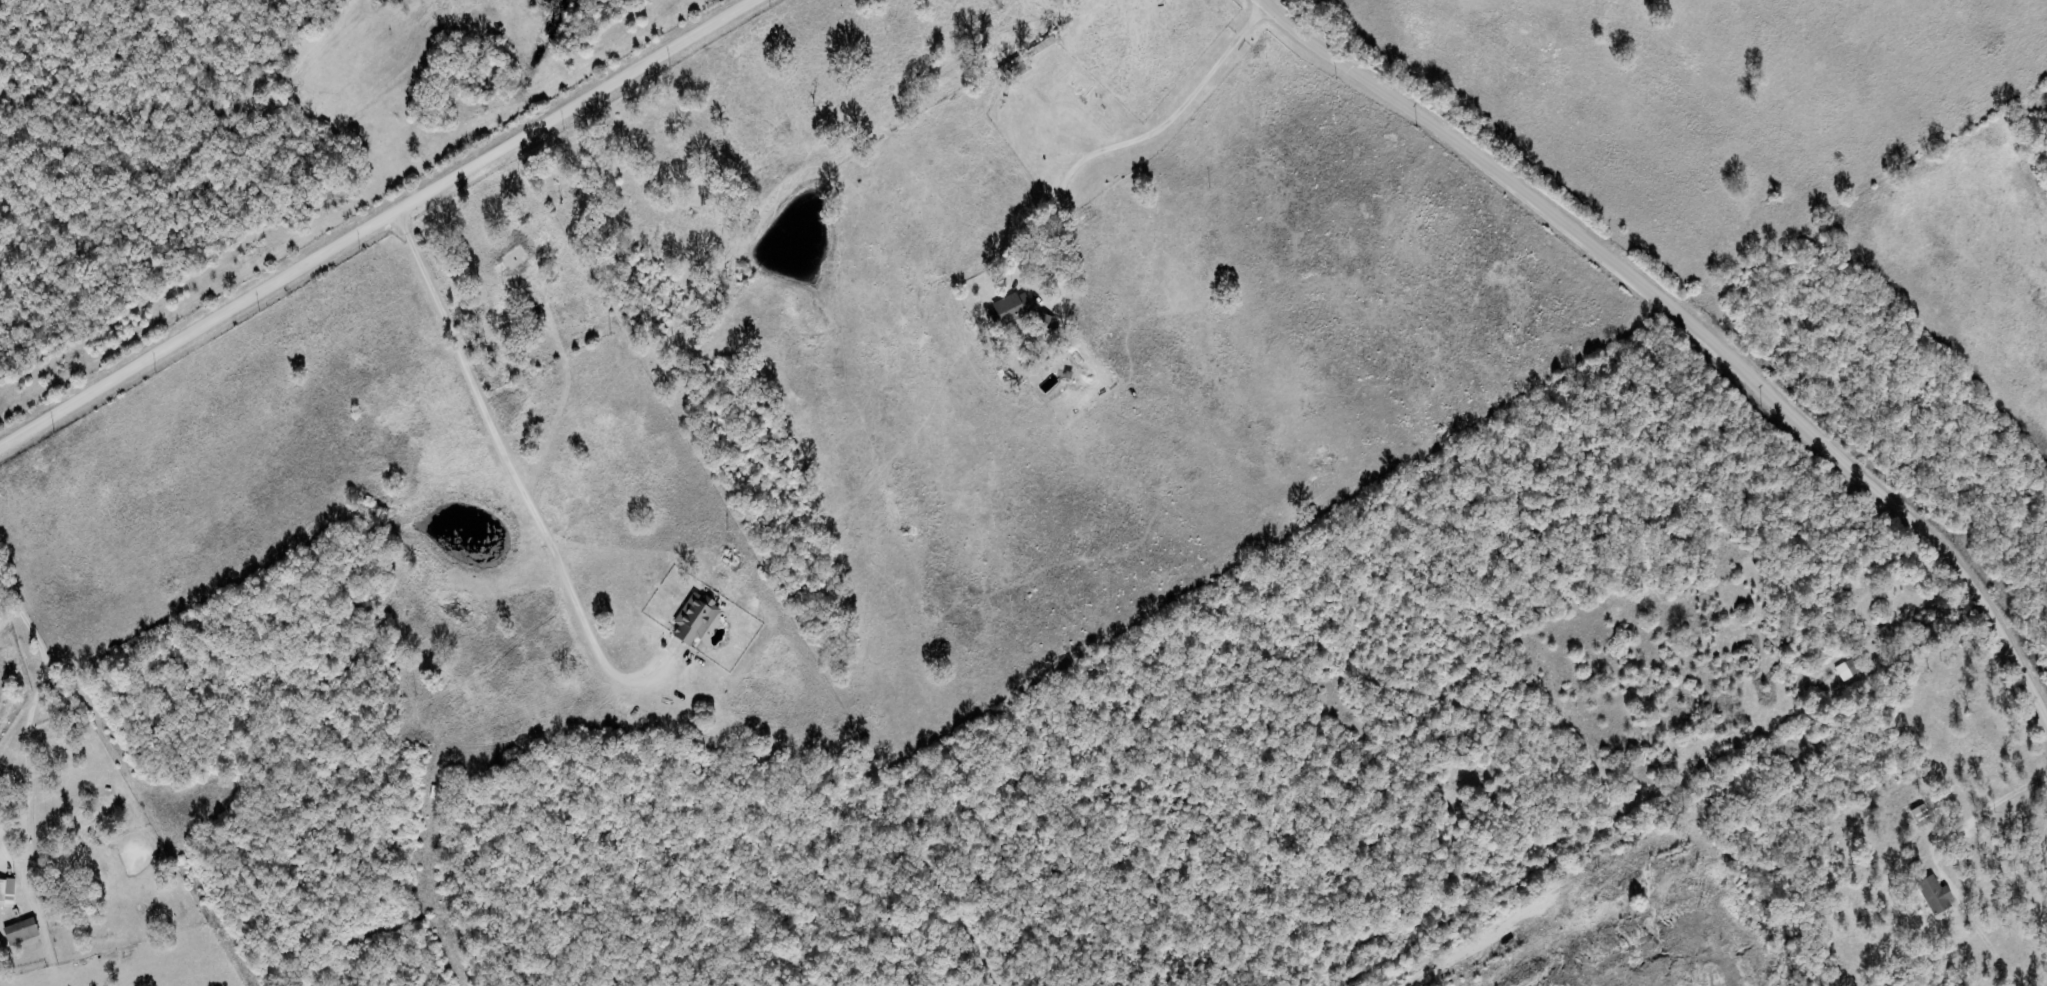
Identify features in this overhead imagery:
road: (1420, 34)
building: (1015, 68)
road: (1487, 159)
road: (380, 224)
building: (1009, 308)
building: (1040, 323)
road: (1896, 505)
building: (692, 619)
building: (1846, 670)
building: (9, 891)
building: (1931, 895)
building: (24, 931)

